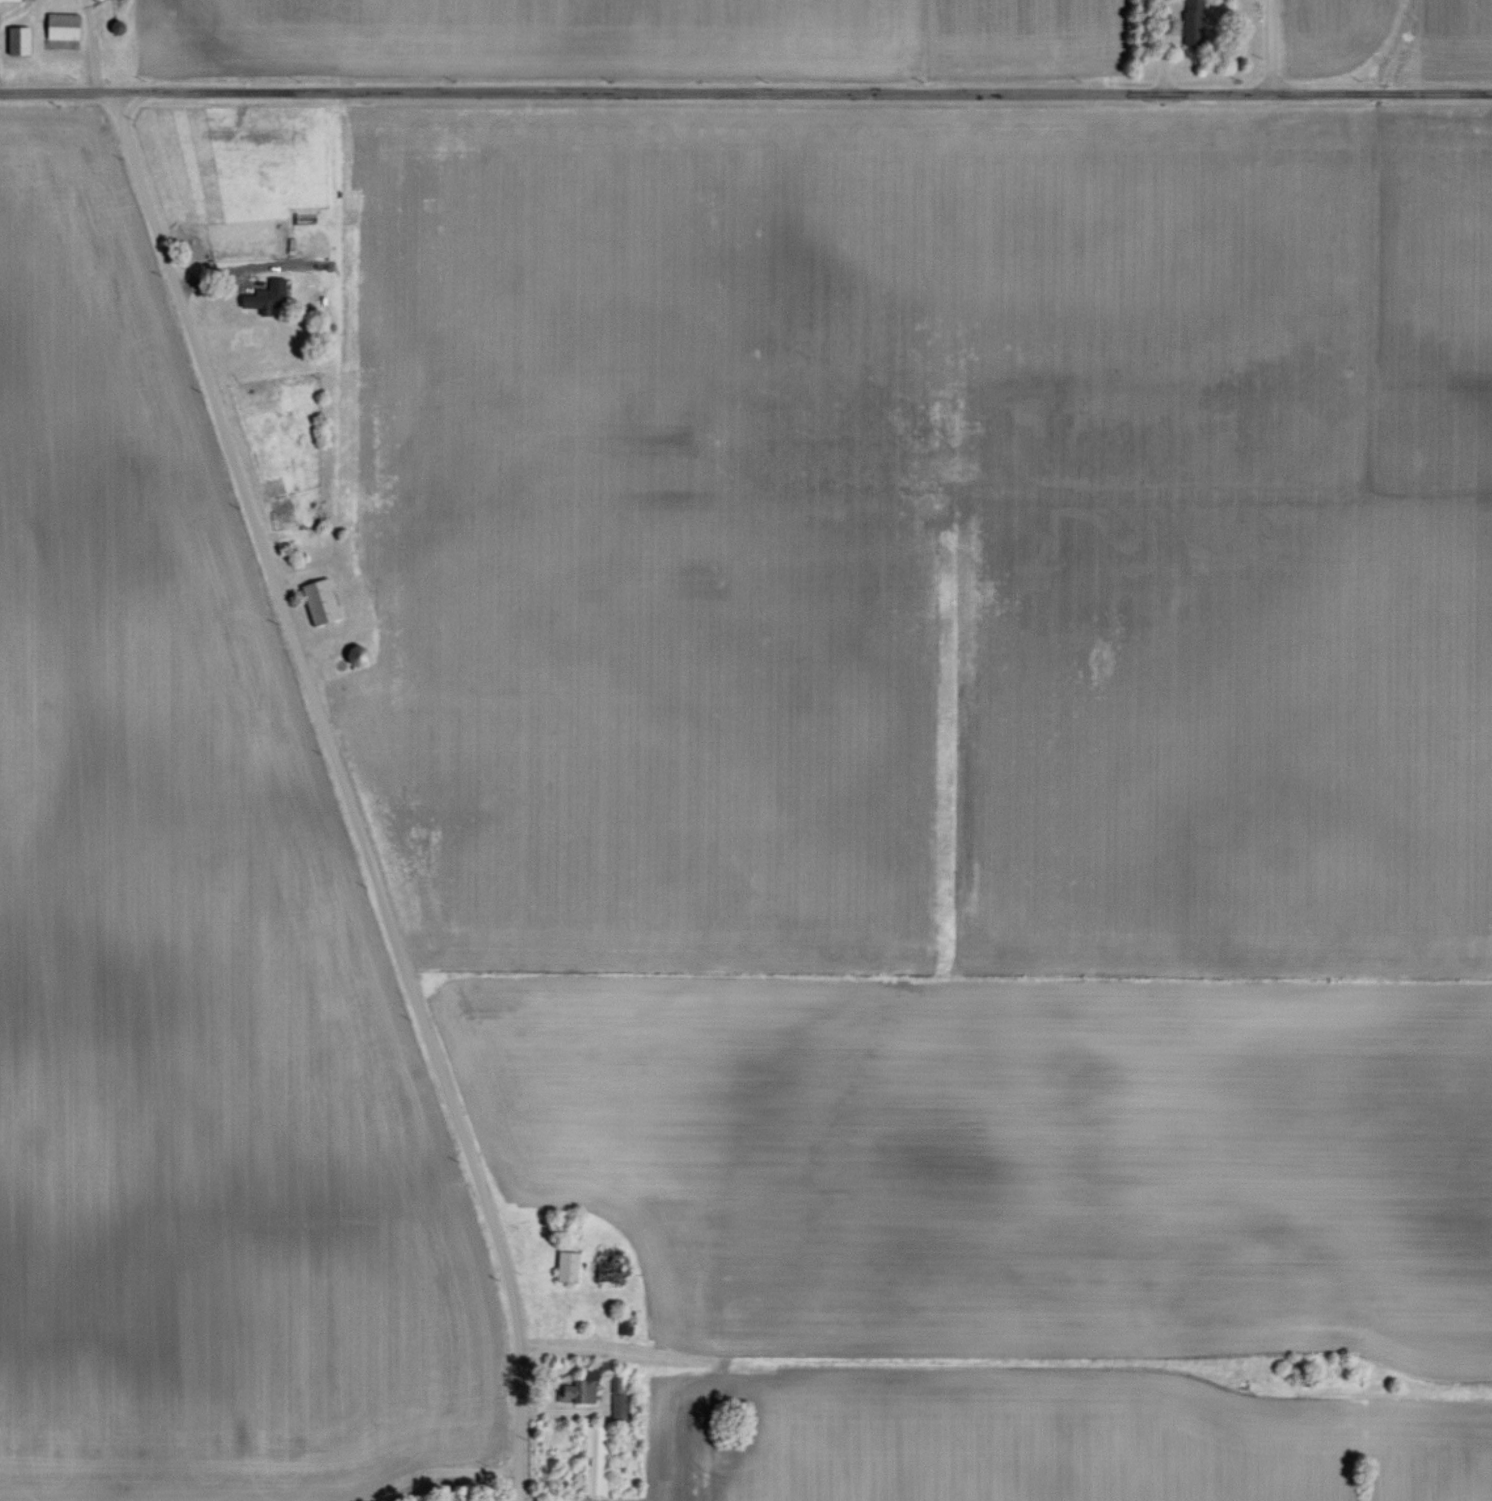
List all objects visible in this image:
building: (8, 0)
building: (1192, 21)
building: (59, 26)
building: (15, 40)
road: (1159, 47)
road: (1267, 47)
road: (746, 94)
road: (227, 281)
building: (264, 297)
building: (317, 602)
road: (343, 793)
building: (564, 1265)
building: (578, 1388)
building: (616, 1400)
building: (592, 1459)
road: (451, 1480)

